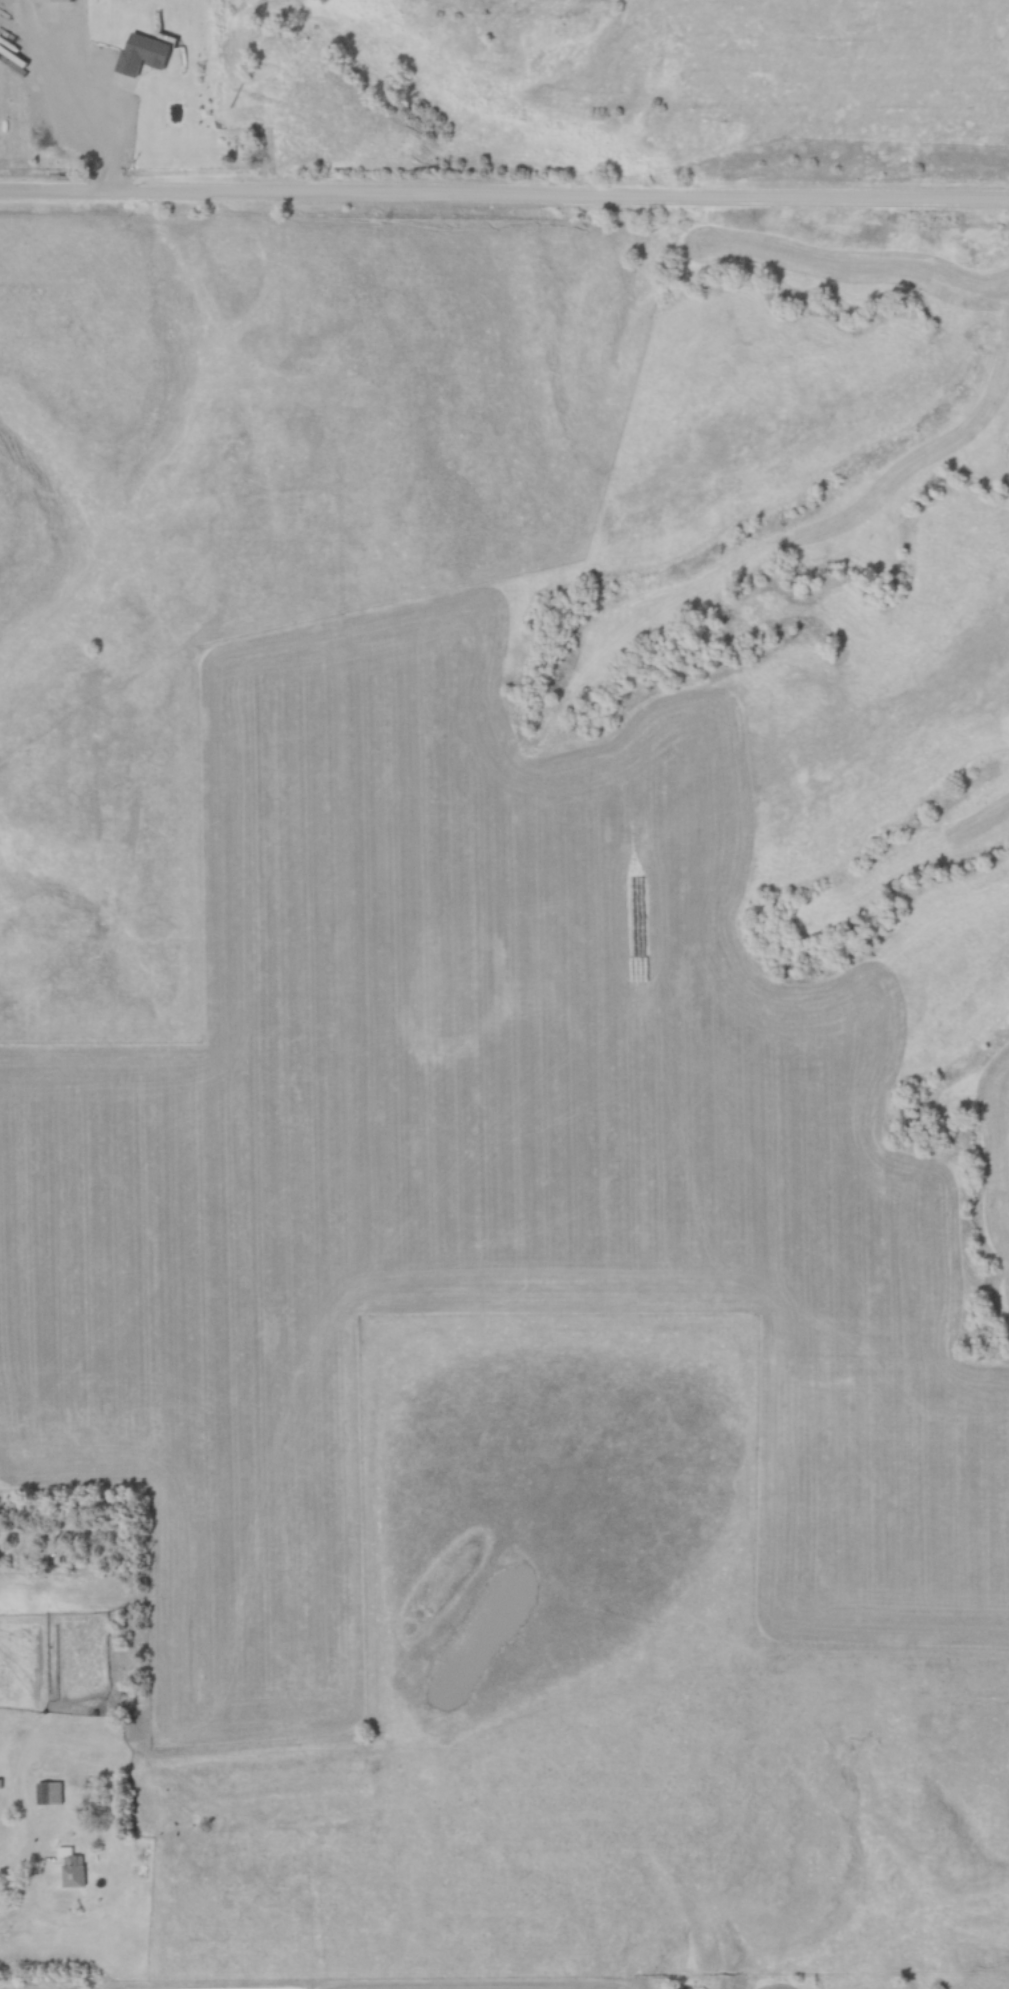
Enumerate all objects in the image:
building: (170, 104)
road: (504, 198)
building: (105, 1479)
building: (95, 1708)
building: (48, 1794)
road: (19, 1860)
building: (70, 1869)

